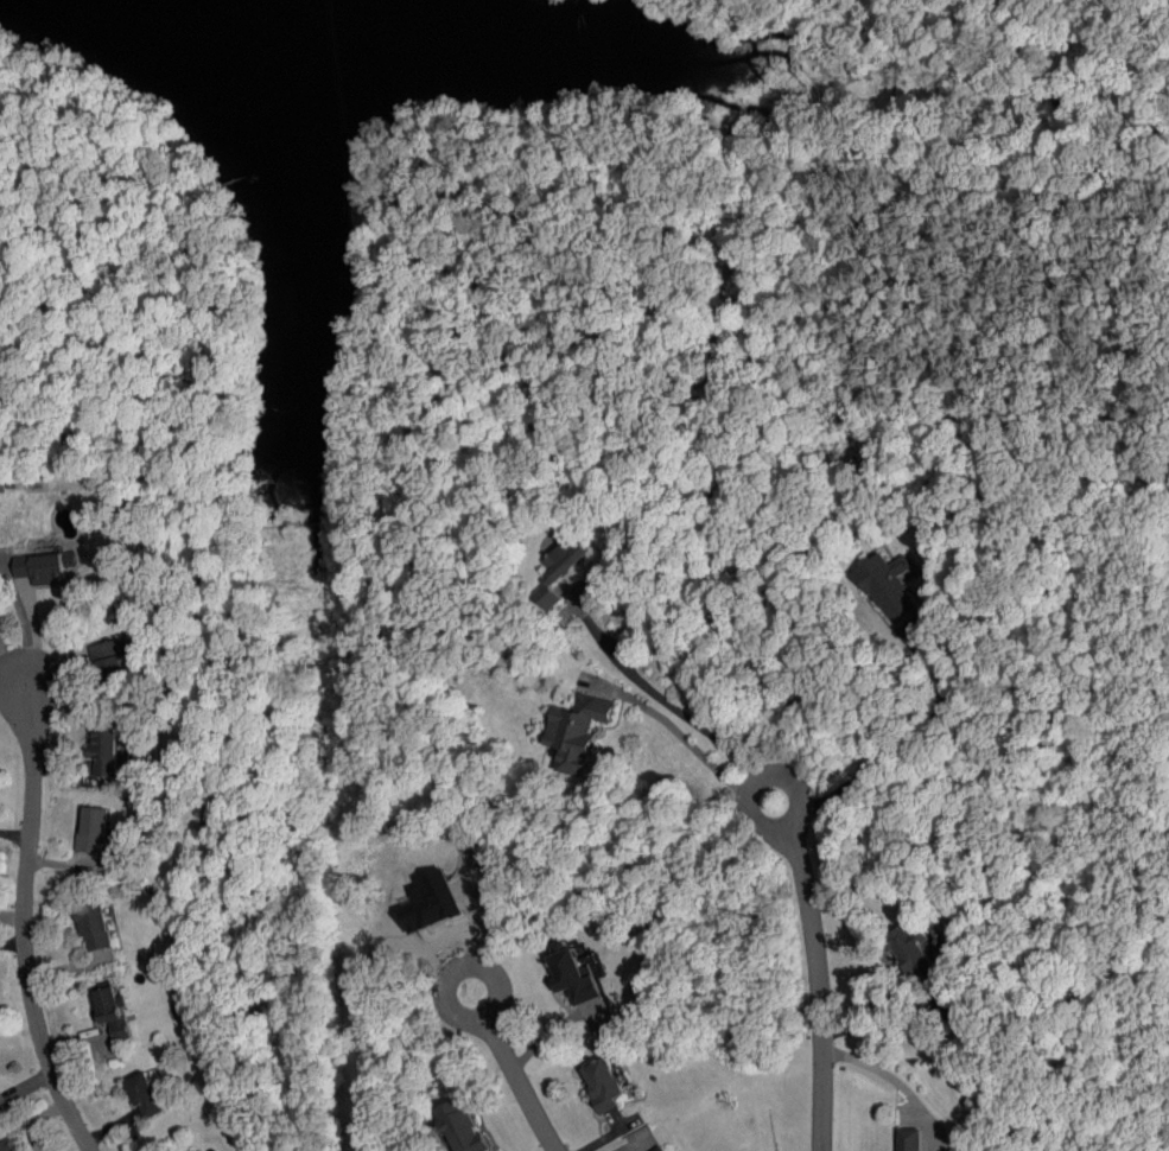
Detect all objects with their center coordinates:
road: (790, 18)
road: (891, 74)
road: (450, 127)
road: (218, 222)
road: (76, 295)
road: (147, 365)
road: (291, 521)
building: (45, 566)
building: (559, 570)
building: (887, 585)
road: (17, 673)
road: (657, 693)
building: (577, 731)
road: (680, 733)
road: (909, 738)
building: (109, 748)
road: (796, 786)
building: (94, 831)
building: (437, 897)
building: (95, 927)
road: (27, 930)
building: (915, 955)
building: (577, 973)
road: (495, 975)
road: (821, 997)
building: (112, 1011)
road: (902, 1036)
building: (603, 1083)
road: (896, 1083)
road: (522, 1088)
building: (145, 1095)
building: (462, 1127)
building: (908, 1139)
building: (8, 1145)
building: (660, 1149)
building: (197, 1150)

